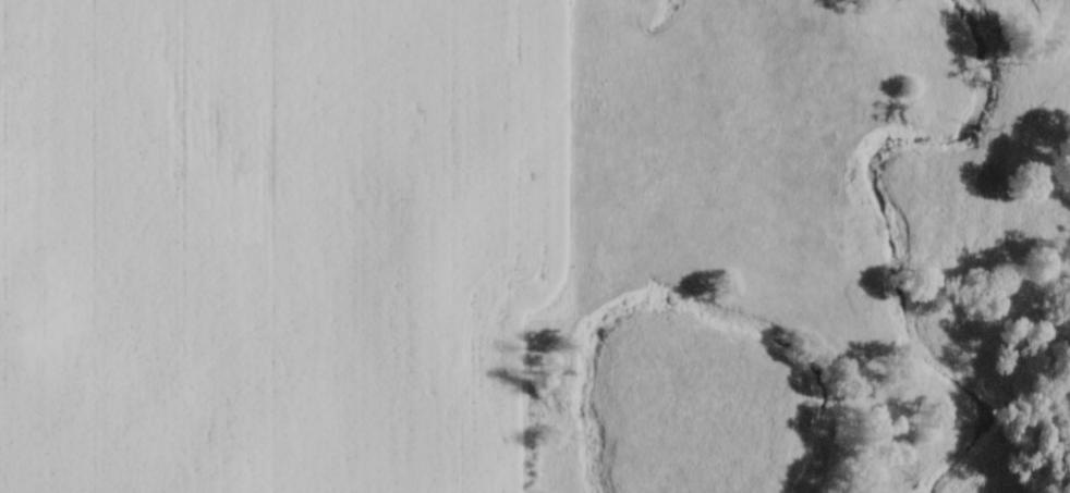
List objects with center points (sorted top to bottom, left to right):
river: (887, 229)
river: (684, 309)
river: (961, 454)

